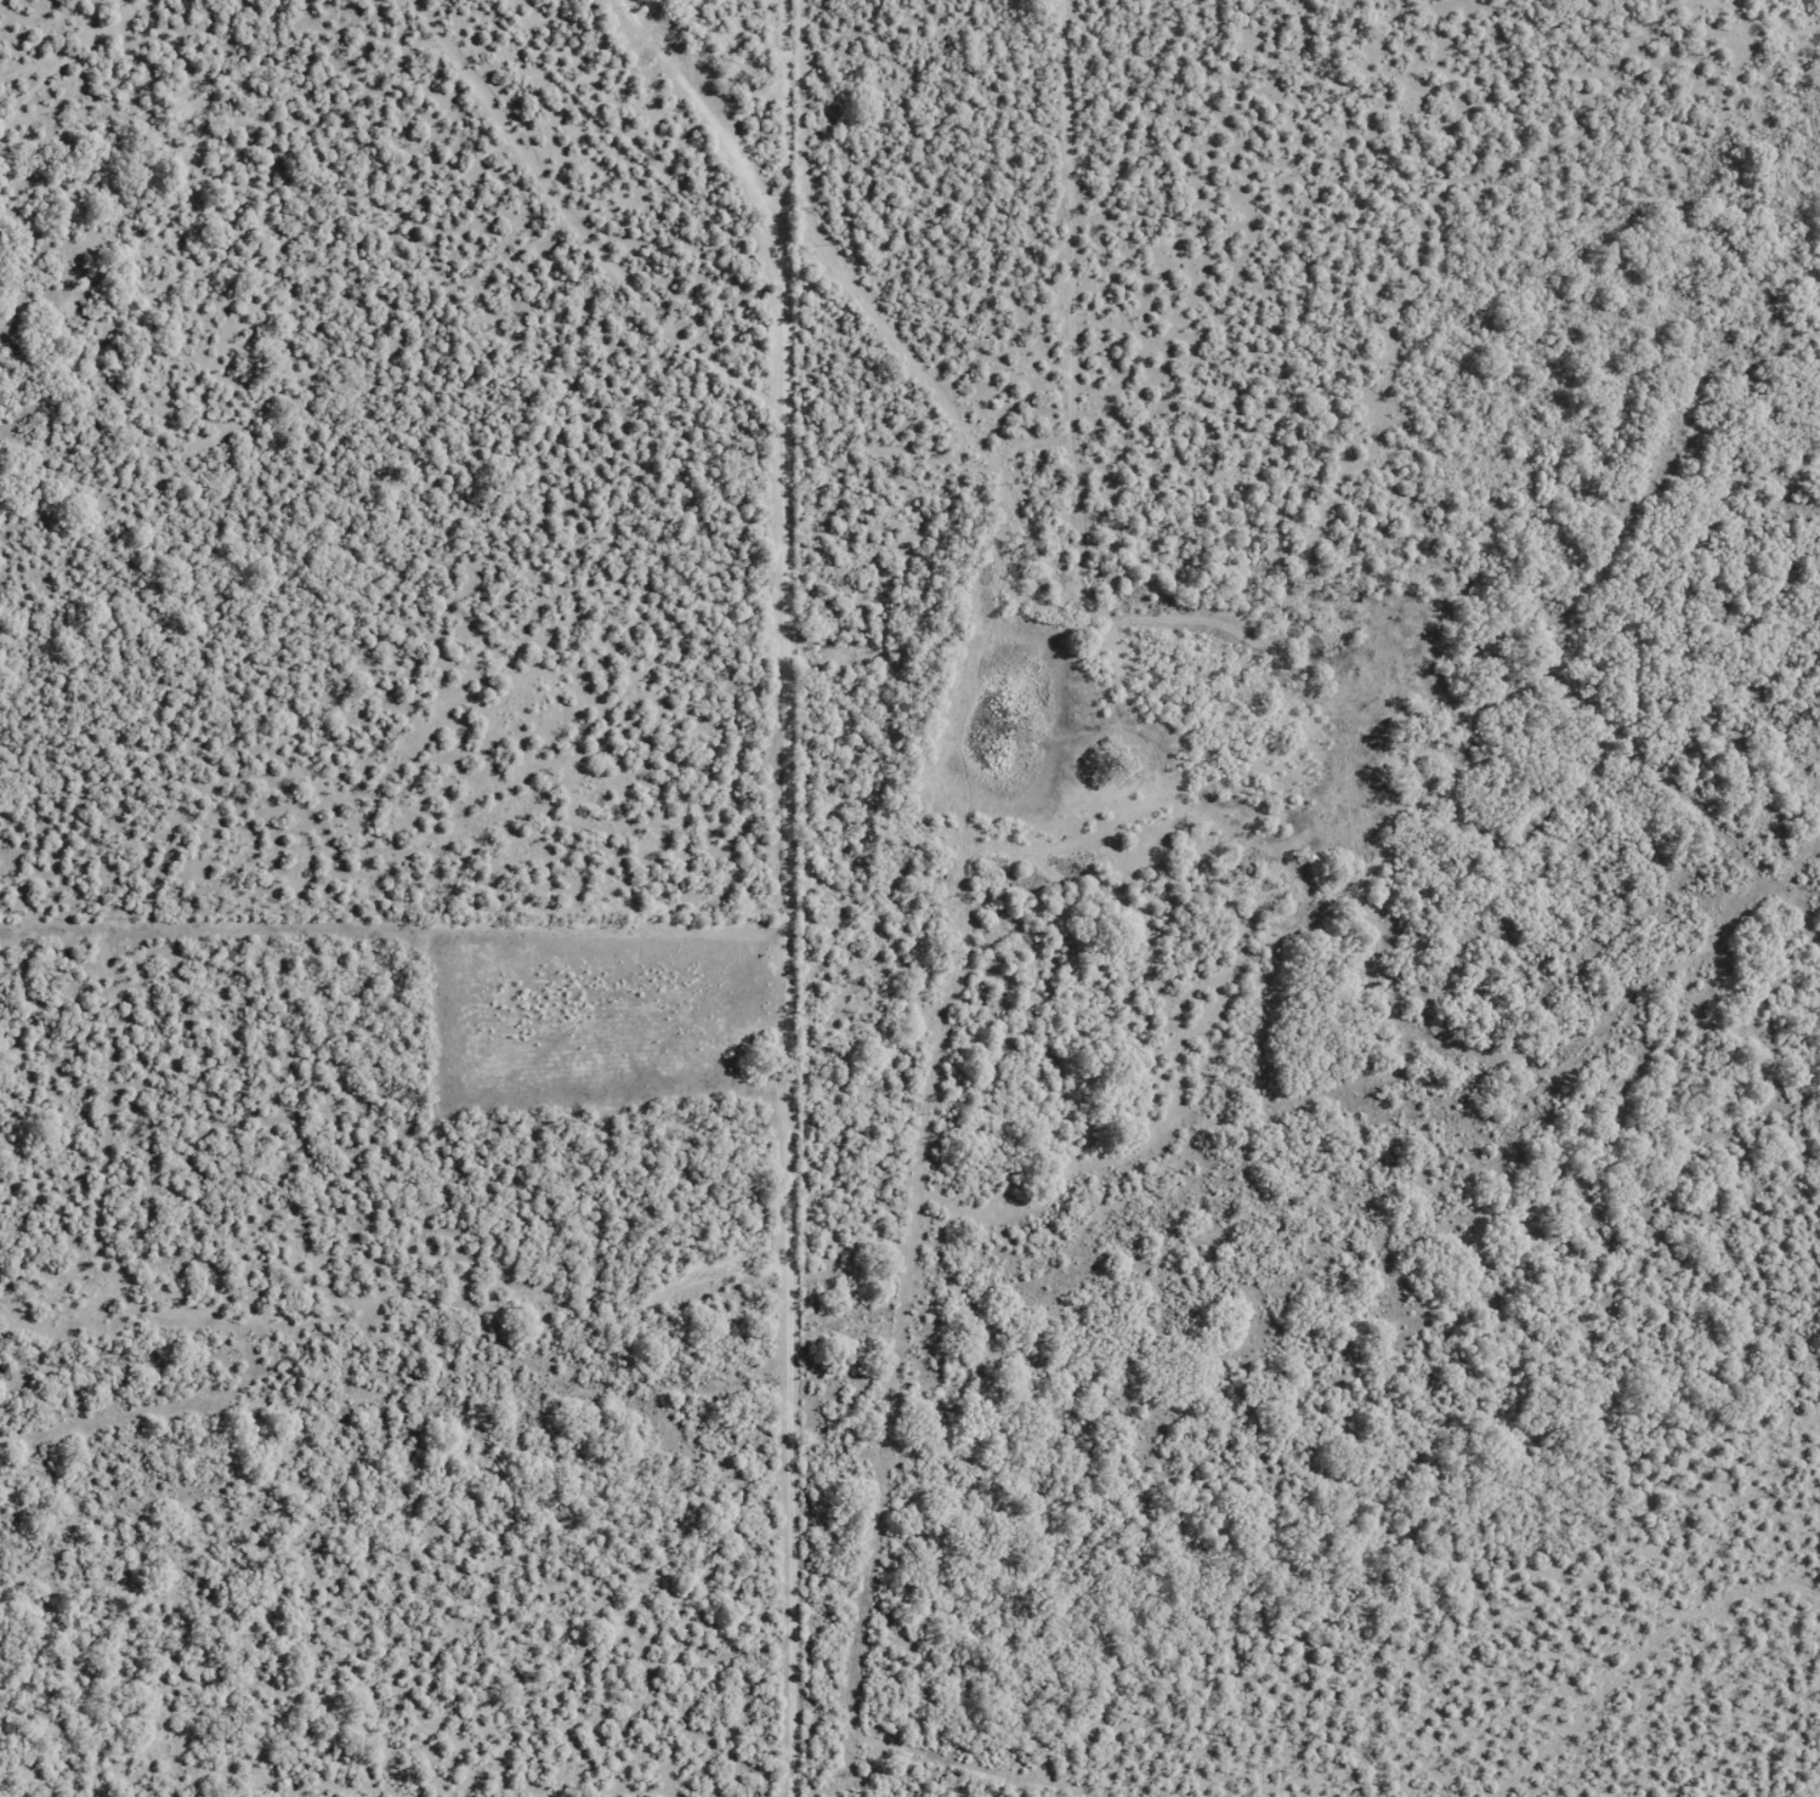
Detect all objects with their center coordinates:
road: (787, 874)

